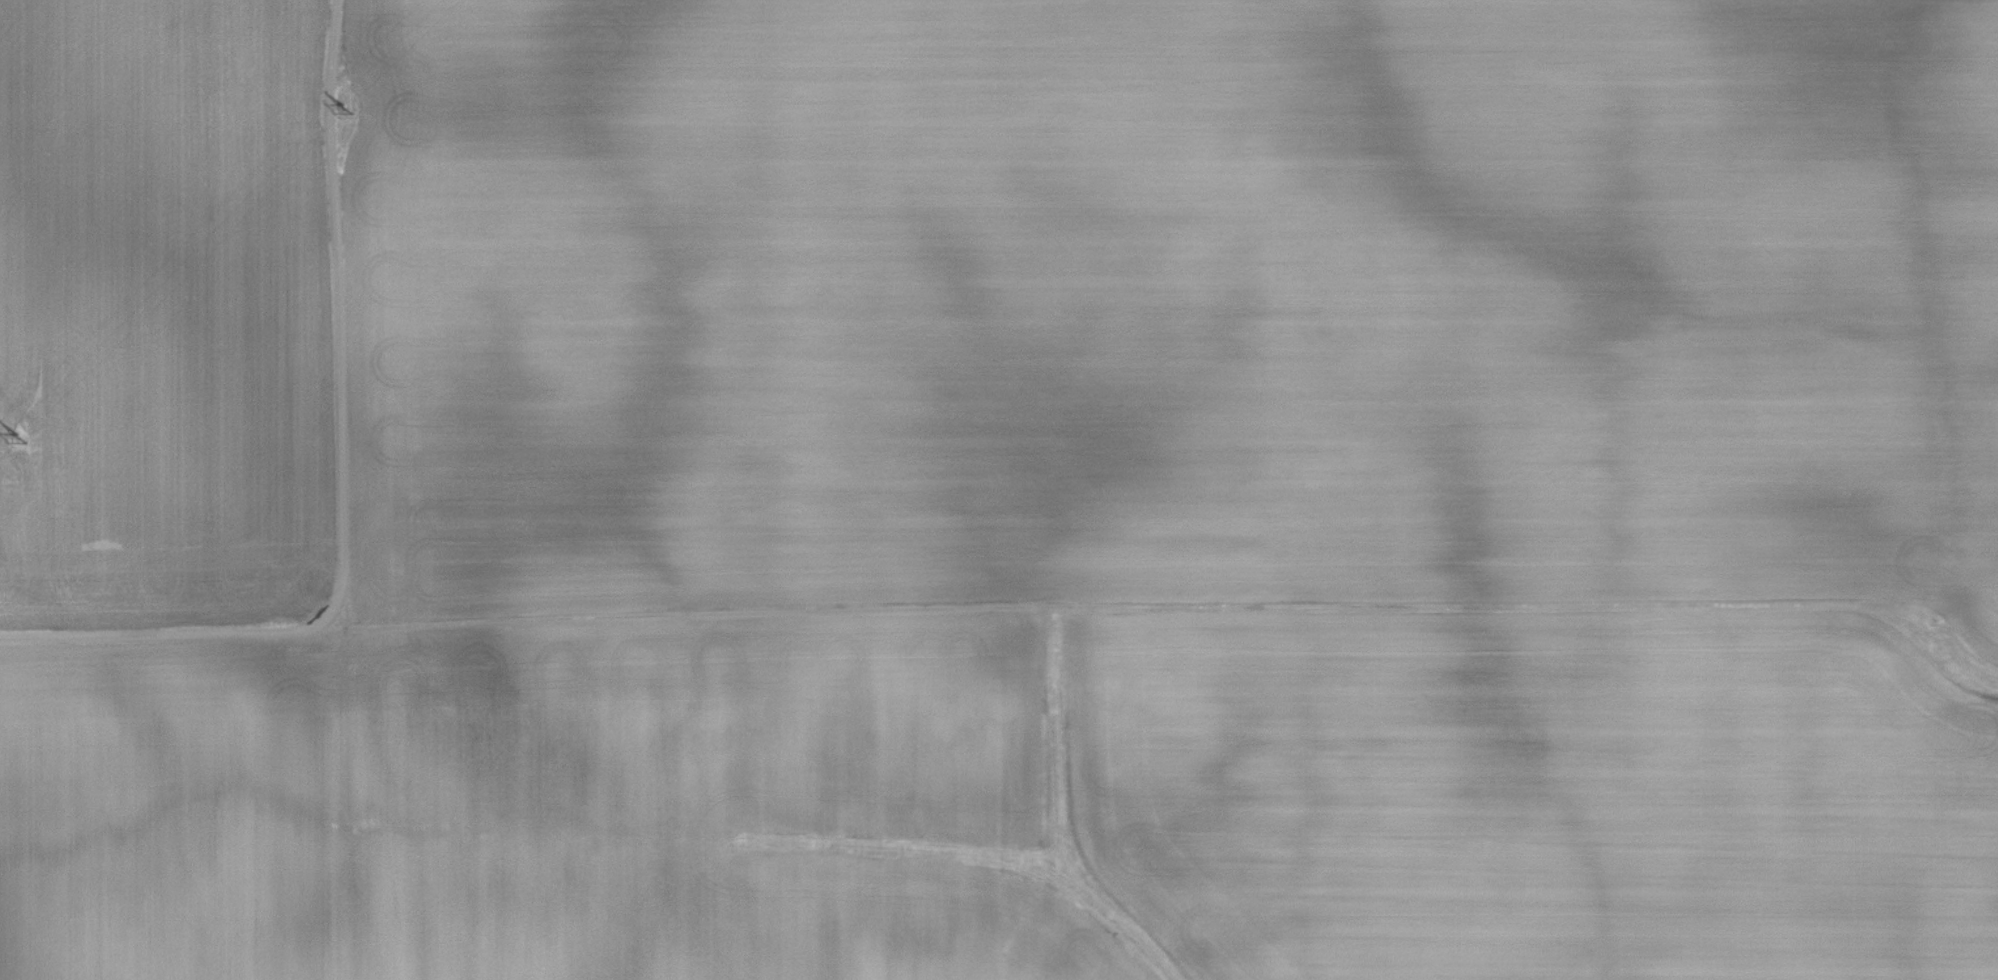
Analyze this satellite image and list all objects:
power tower: (348, 108)
power tower: (24, 437)
road: (340, 474)

